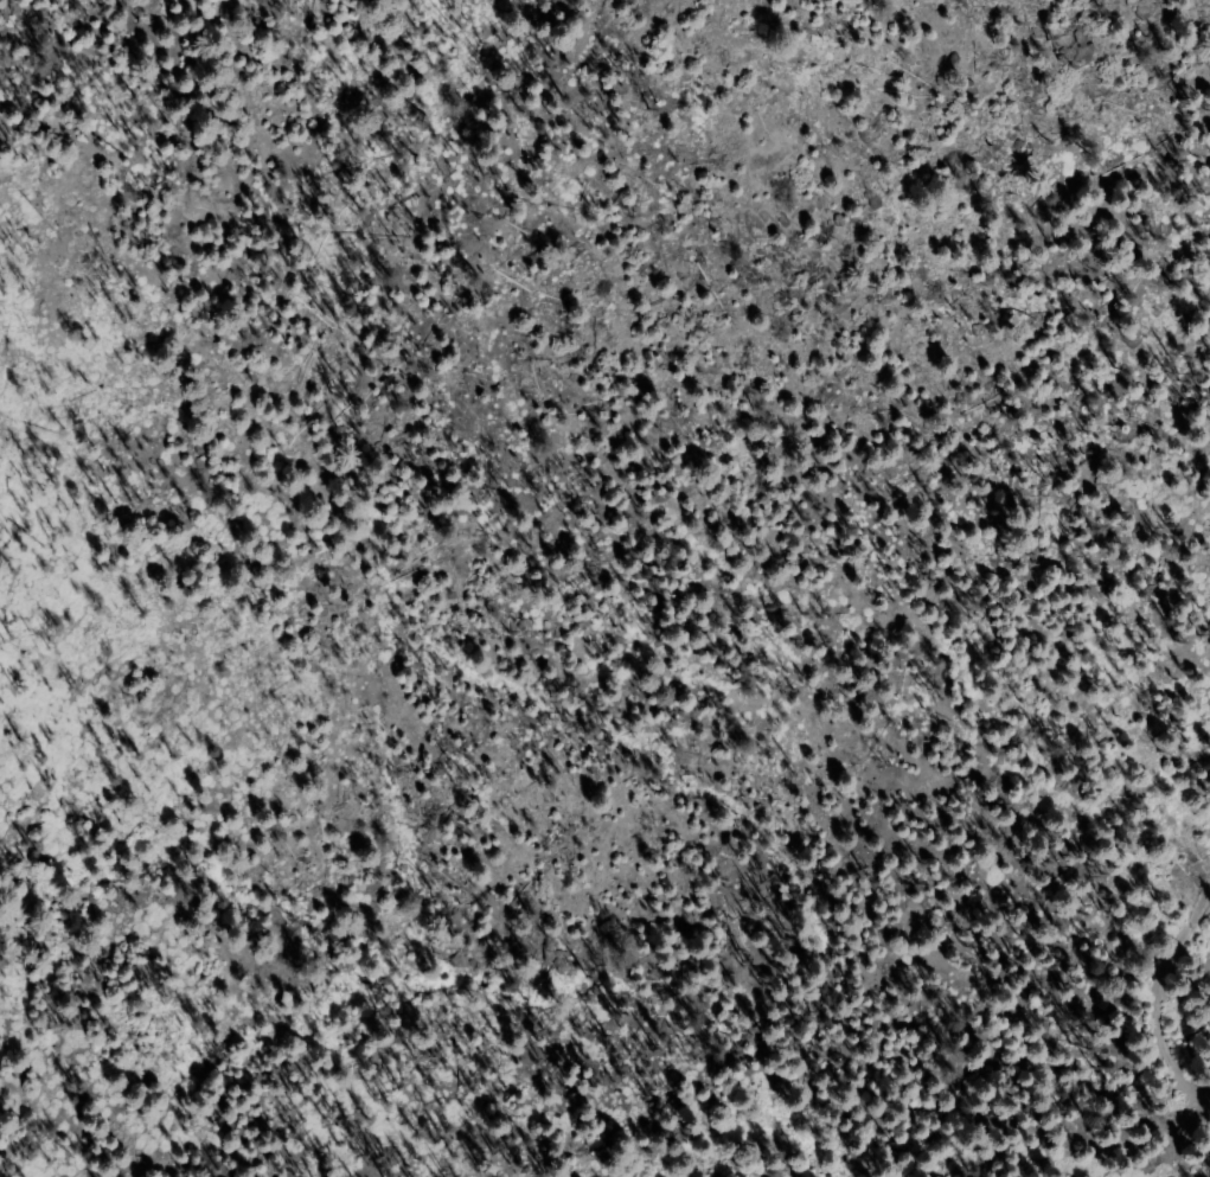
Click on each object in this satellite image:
road: (1190, 957)
road: (17, 1172)

